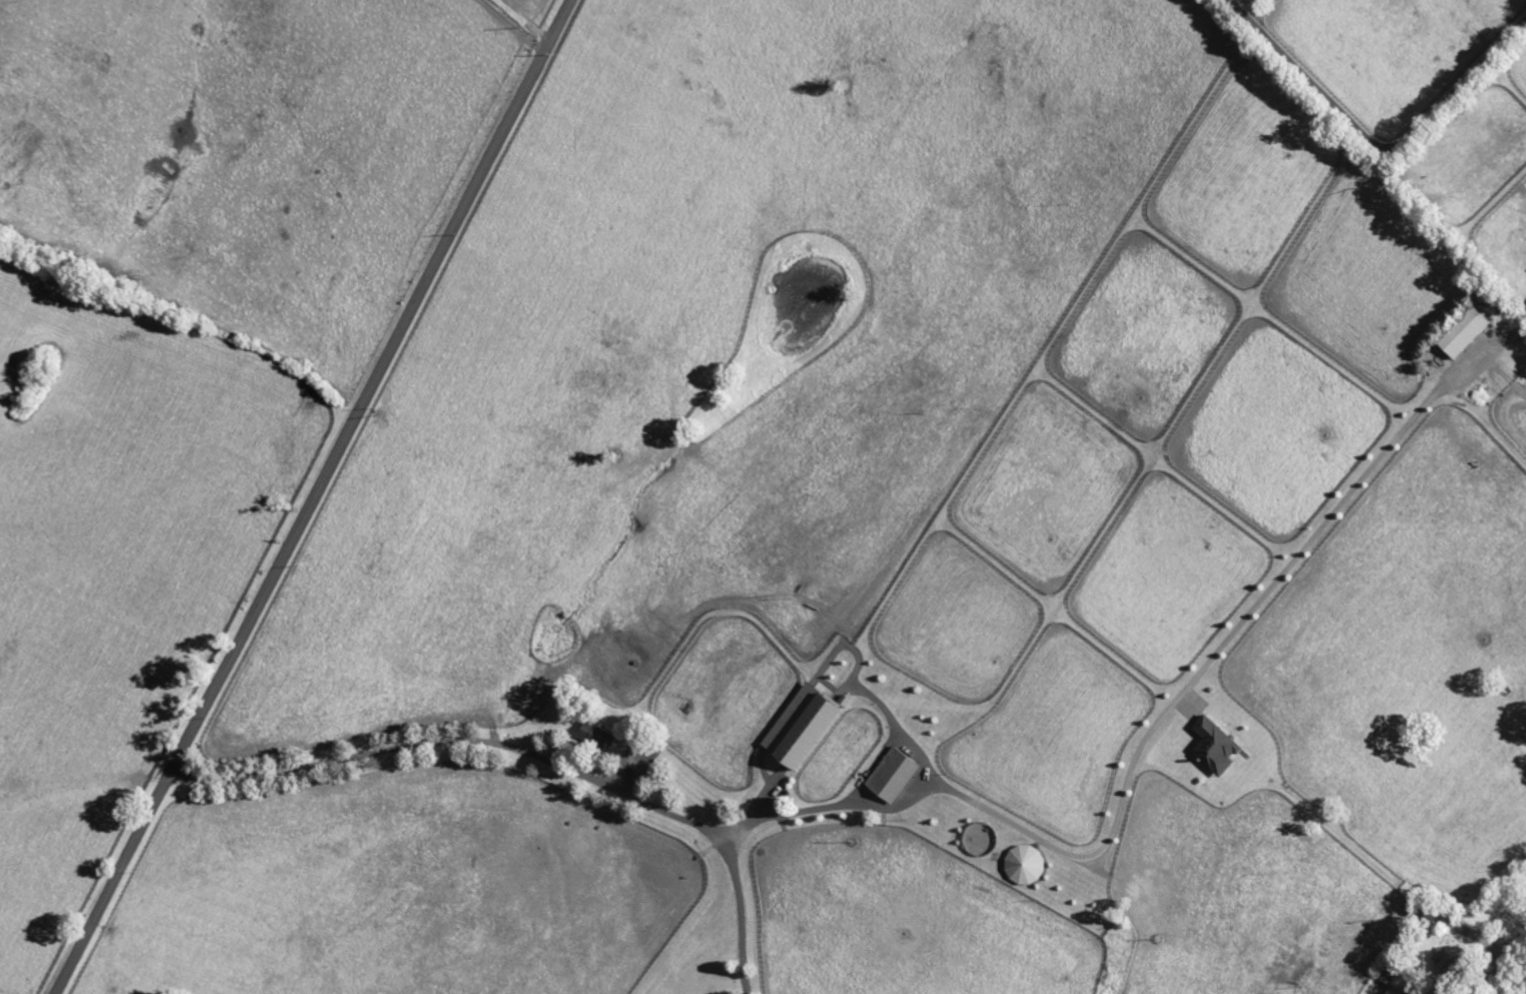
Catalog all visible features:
road: (513, 27)
road: (1375, 144)
building: (1461, 332)
road: (320, 498)
road: (1157, 723)
building: (798, 727)
building: (594, 735)
building: (1211, 746)
road: (537, 756)
building: (889, 776)
building: (1443, 959)
road: (1504, 965)
building: (1415, 993)

